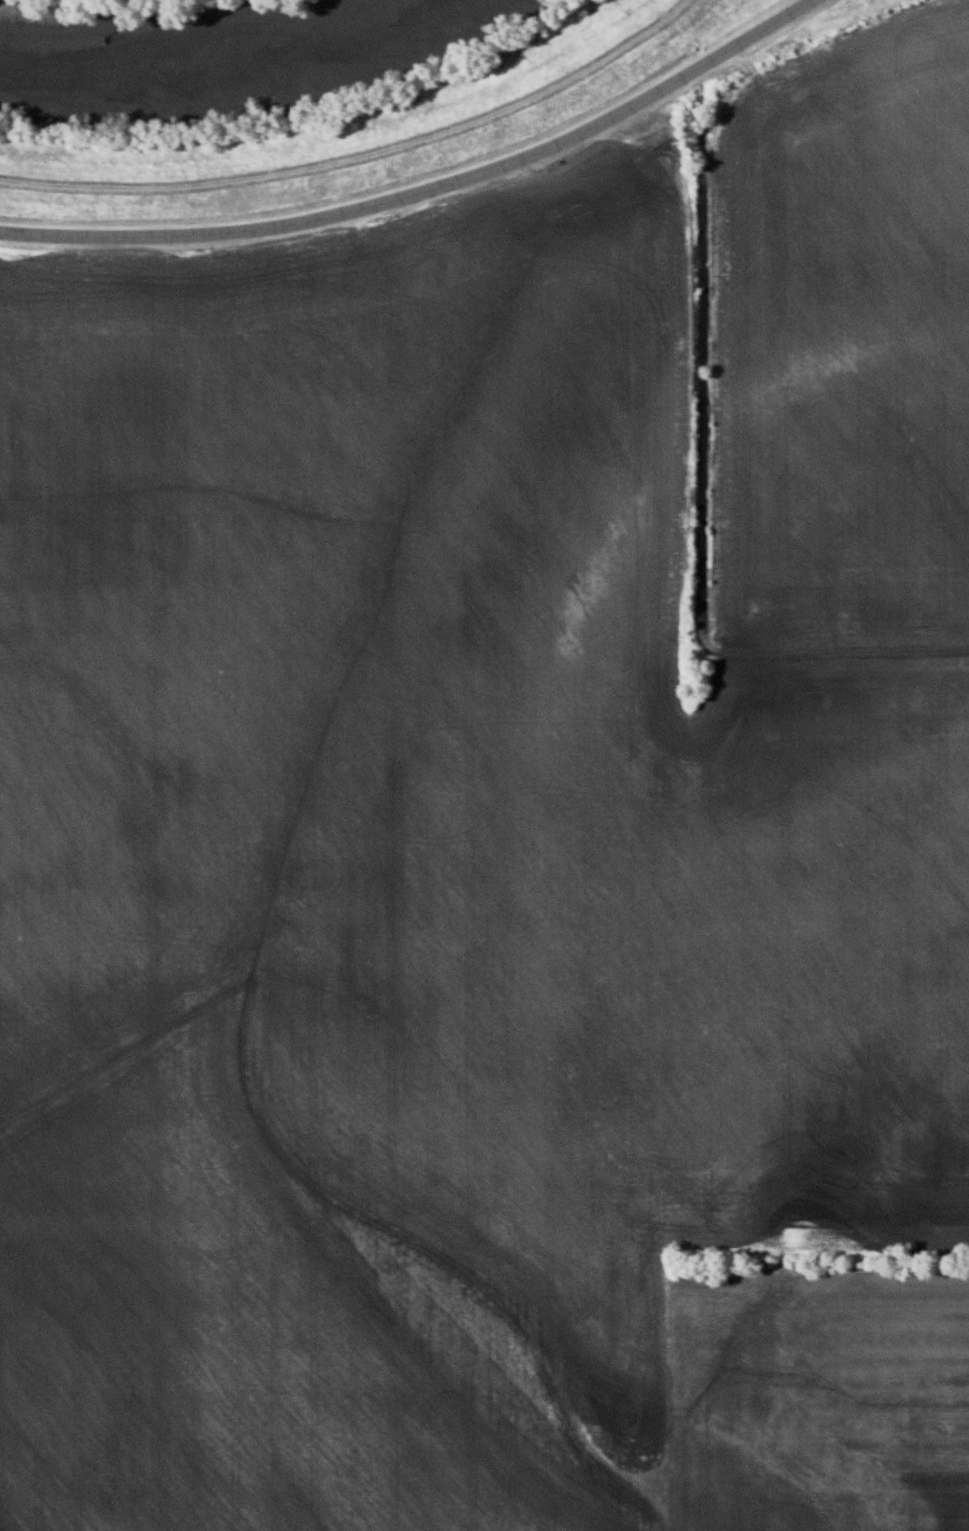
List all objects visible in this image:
river: (223, 60)
road: (435, 193)

